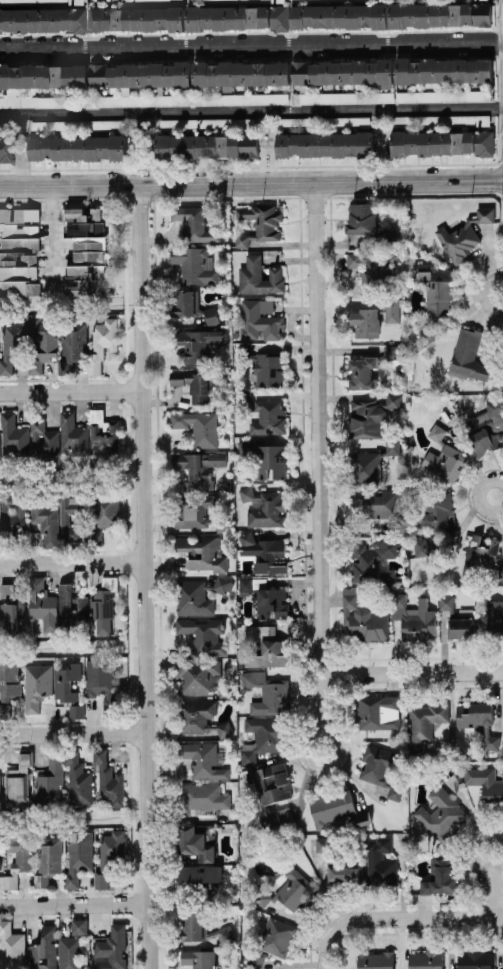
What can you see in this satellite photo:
building: (323, 0)
building: (133, 1)
building: (229, 1)
building: (39, 2)
building: (440, 14)
building: (340, 15)
building: (238, 17)
building: (137, 18)
building: (42, 20)
road: (251, 45)
building: (442, 70)
building: (344, 72)
building: (240, 74)
building: (140, 75)
building: (40, 77)
building: (442, 96)
building: (346, 97)
building: (239, 98)
building: (141, 99)
building: (43, 101)
road: (251, 110)
building: (439, 120)
building: (321, 121)
building: (206, 123)
building: (1, 125)
building: (76, 125)
building: (442, 142)
building: (324, 144)
building: (205, 145)
building: (77, 147)
building: (5, 149)
road: (251, 183)
building: (196, 221)
building: (259, 223)
building: (368, 224)
building: (464, 235)
road: (50, 238)
building: (18, 250)
building: (86, 250)
building: (195, 264)
building: (372, 268)
building: (259, 276)
road: (481, 293)
building: (435, 294)
park: (60, 305)
building: (190, 307)
building: (258, 318)
building: (374, 318)
building: (102, 343)
building: (43, 344)
building: (199, 344)
building: (12, 345)
building: (72, 346)
building: (471, 358)
building: (265, 367)
building: (368, 368)
building: (196, 383)
road: (69, 390)
building: (263, 413)
building: (369, 415)
building: (198, 426)
building: (486, 427)
building: (104, 431)
building: (13, 435)
building: (72, 435)
building: (43, 440)
road: (314, 456)
building: (443, 456)
building: (265, 457)
building: (371, 463)
building: (198, 468)
park: (61, 476)
road: (478, 495)
building: (379, 501)
building: (264, 507)
building: (199, 512)
building: (87, 516)
building: (435, 518)
building: (46, 522)
building: (203, 552)
building: (264, 552)
building: (480, 554)
building: (374, 560)
road: (70, 562)
road: (141, 577)
building: (197, 595)
building: (266, 597)
building: (42, 603)
building: (10, 607)
building: (84, 610)
building: (362, 616)
building: (413, 617)
building: (458, 618)
building: (494, 618)
building: (204, 635)
park: (63, 647)
building: (266, 647)
road: (410, 674)
building: (203, 676)
building: (99, 677)
building: (8, 679)
building: (66, 681)
building: (36, 685)
building: (267, 692)
building: (76, 710)
building: (377, 712)
building: (200, 717)
building: (478, 721)
road: (329, 731)
road: (72, 733)
building: (263, 736)
building: (502, 744)
building: (202, 759)
building: (380, 769)
building: (108, 780)
building: (18, 781)
building: (78, 781)
building: (0, 782)
building: (485, 783)
building: (49, 784)
building: (271, 790)
building: (201, 797)
building: (335, 808)
building: (441, 814)
building: (197, 840)
building: (324, 843)
road: (472, 851)
building: (78, 855)
building: (109, 856)
building: (18, 859)
building: (48, 859)
building: (380, 863)
building: (344, 871)
building: (199, 873)
building: (441, 878)
building: (296, 890)
road: (493, 892)
building: (262, 897)
road: (73, 905)
road: (413, 916)
building: (201, 926)
building: (276, 936)
building: (72, 946)
building: (11, 947)
building: (112, 948)
building: (44, 949)
road: (325, 950)
building: (502, 956)
building: (199, 958)
building: (475, 958)
building: (425, 959)
building: (375, 960)

